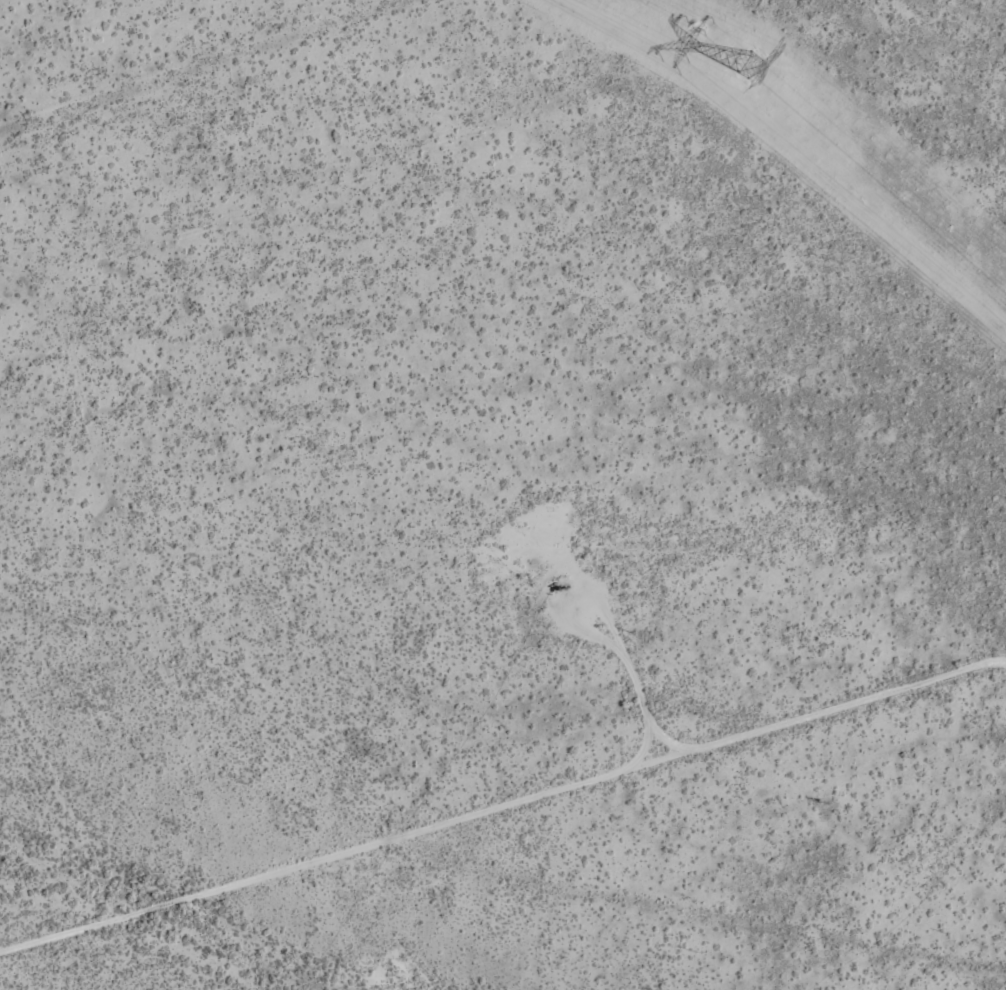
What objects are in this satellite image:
power tower: (746, 65)
road: (242, 80)
road: (508, 828)

